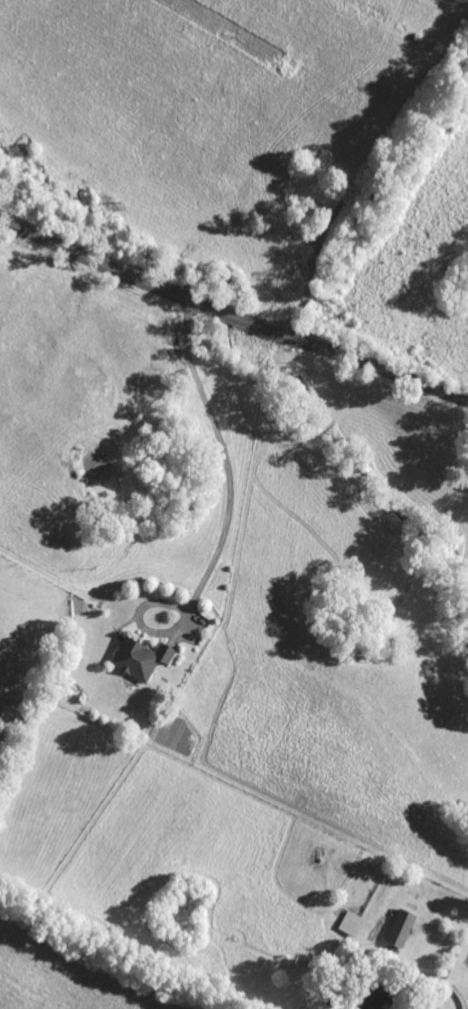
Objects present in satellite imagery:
road: (343, 115)
road: (231, 318)
road: (224, 523)
building: (140, 658)
building: (4, 715)
building: (351, 923)
building: (400, 928)
building: (373, 998)

